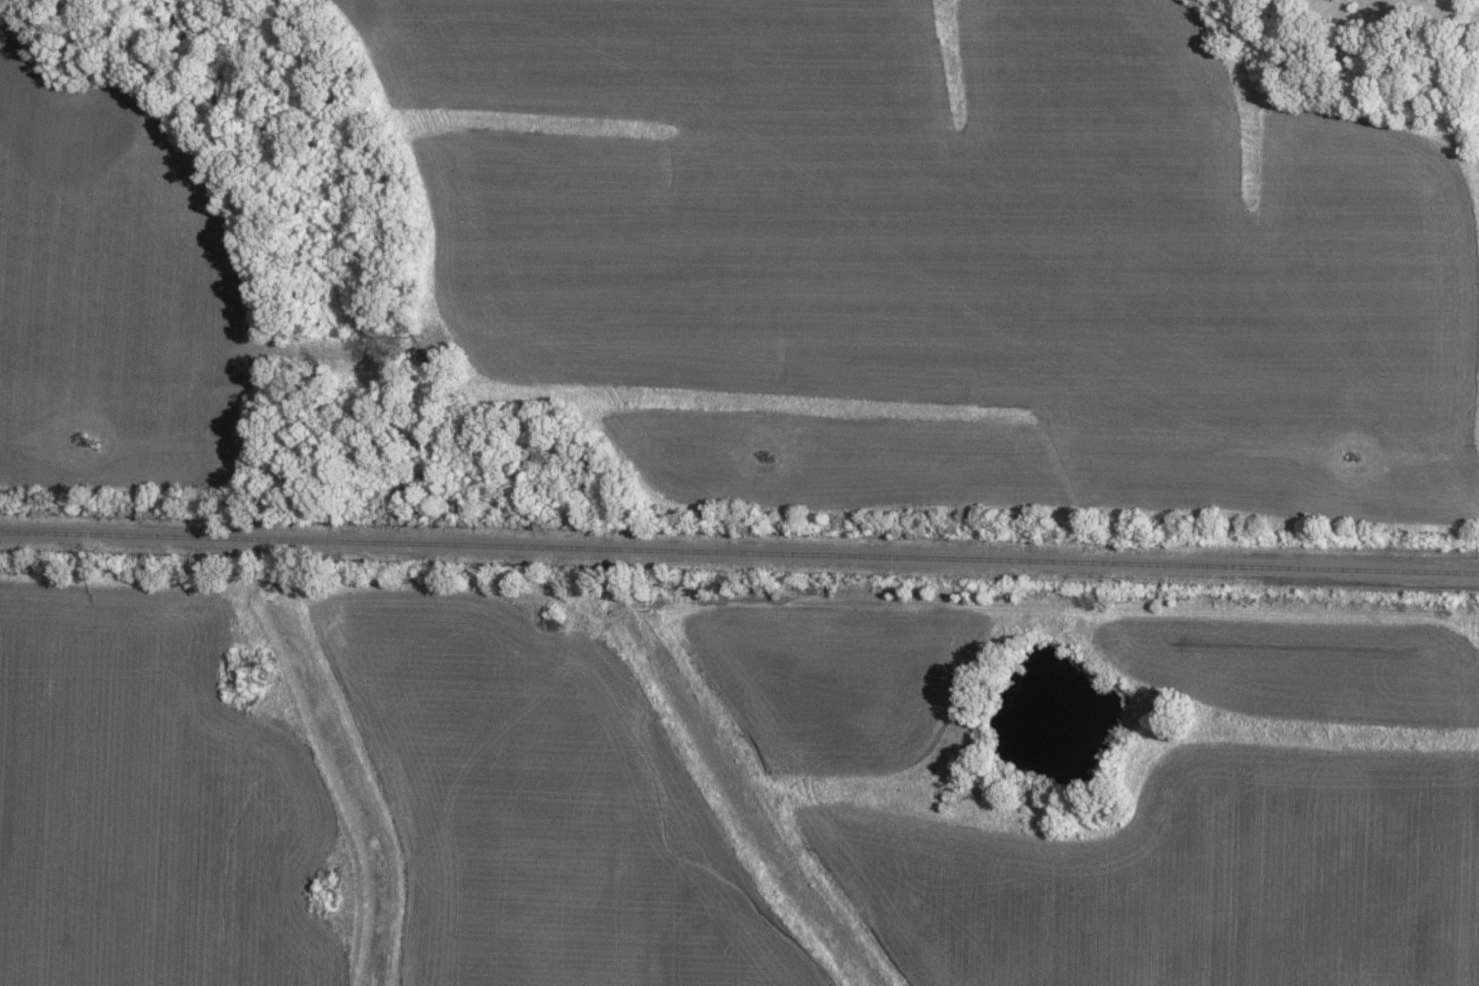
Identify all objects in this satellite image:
railway: (739, 551)

